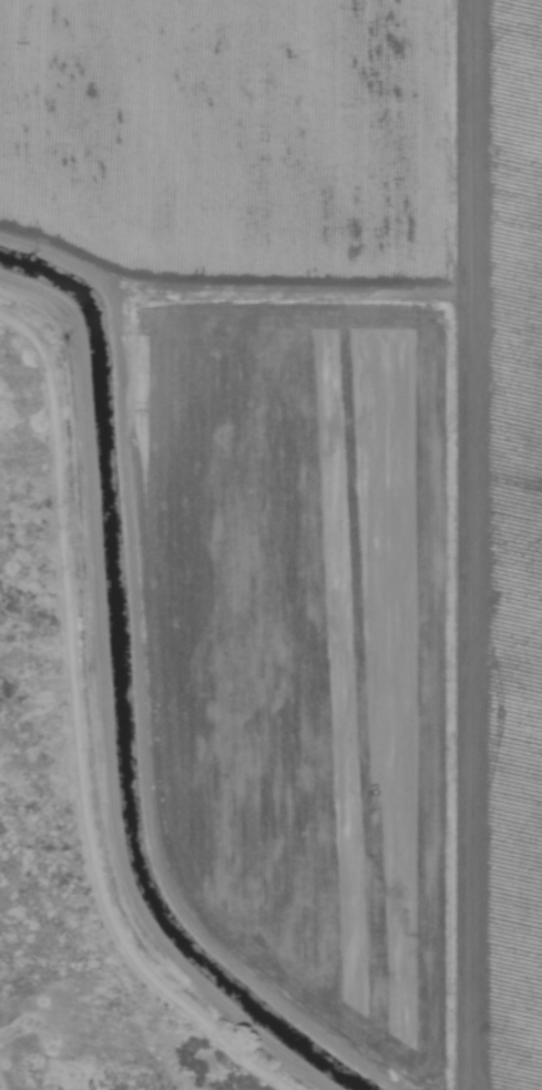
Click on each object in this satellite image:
crop: (321, 475)
road: (460, 544)

